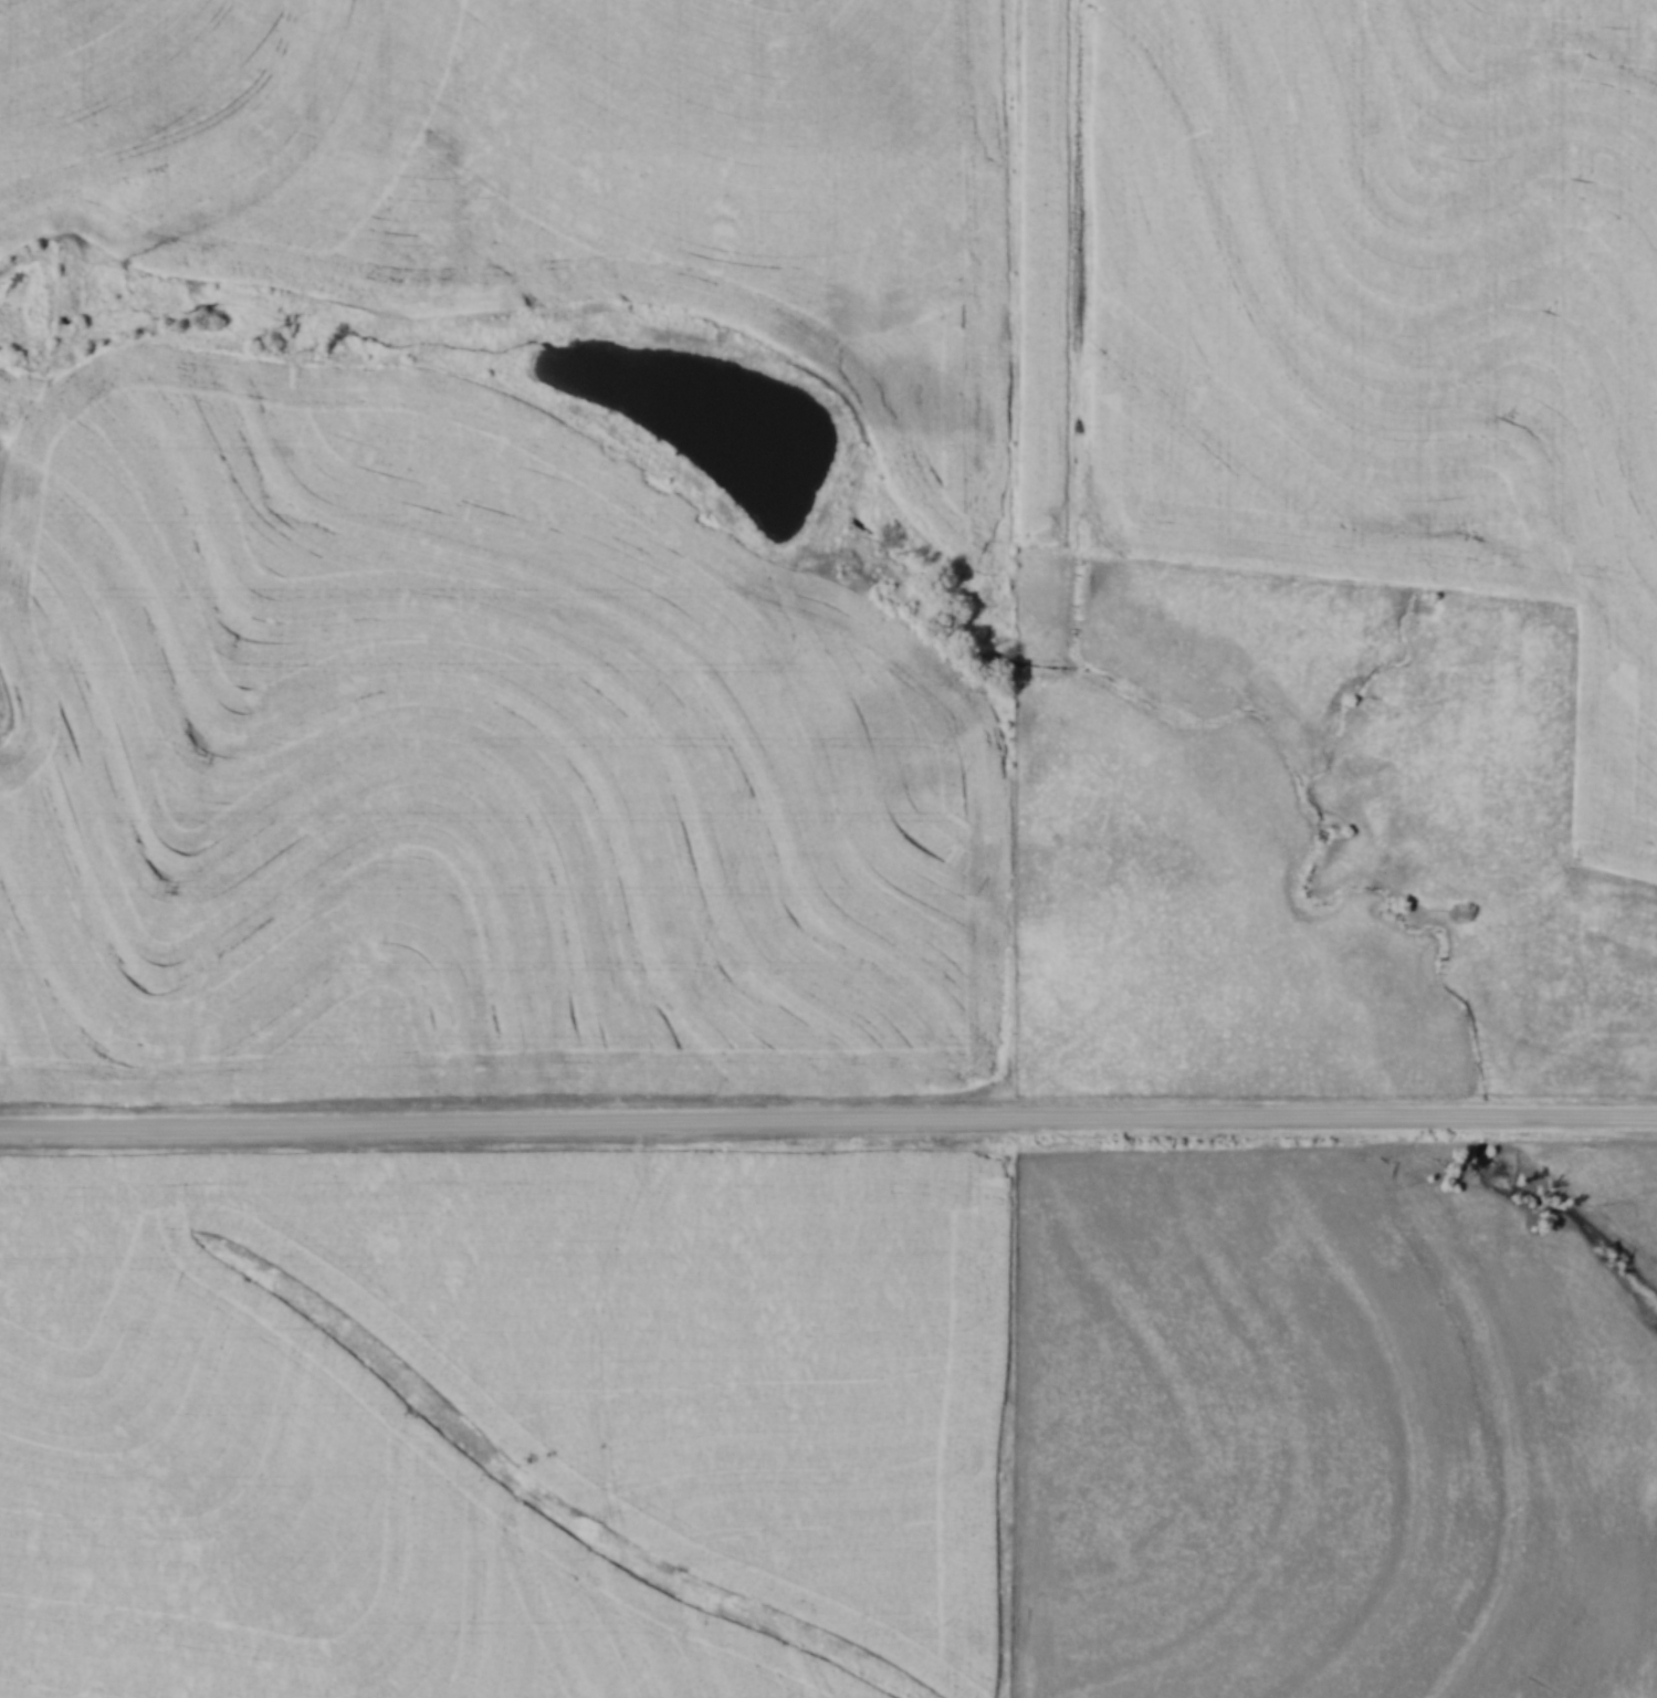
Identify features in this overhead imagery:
road: (828, 1123)

